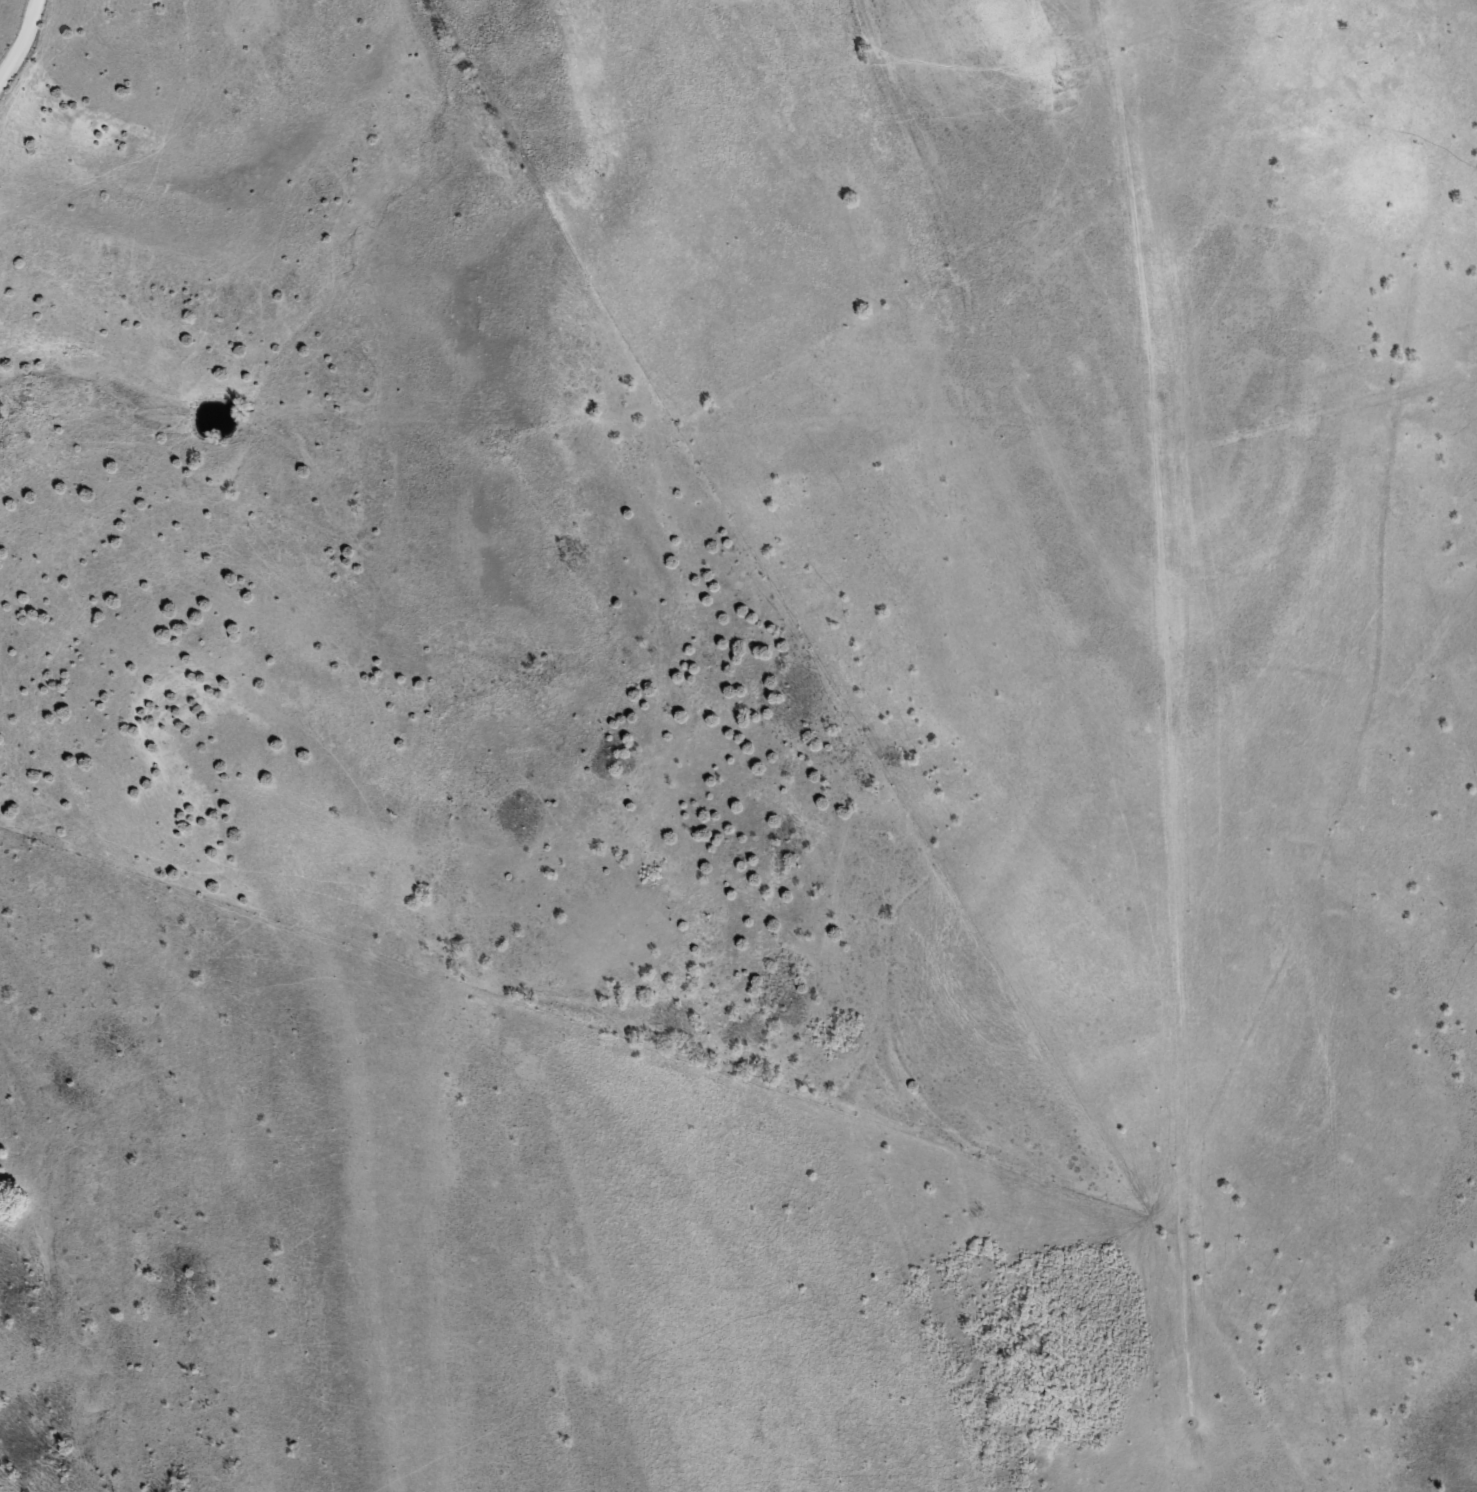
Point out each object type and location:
road: (20, 39)
building: (1, 416)

